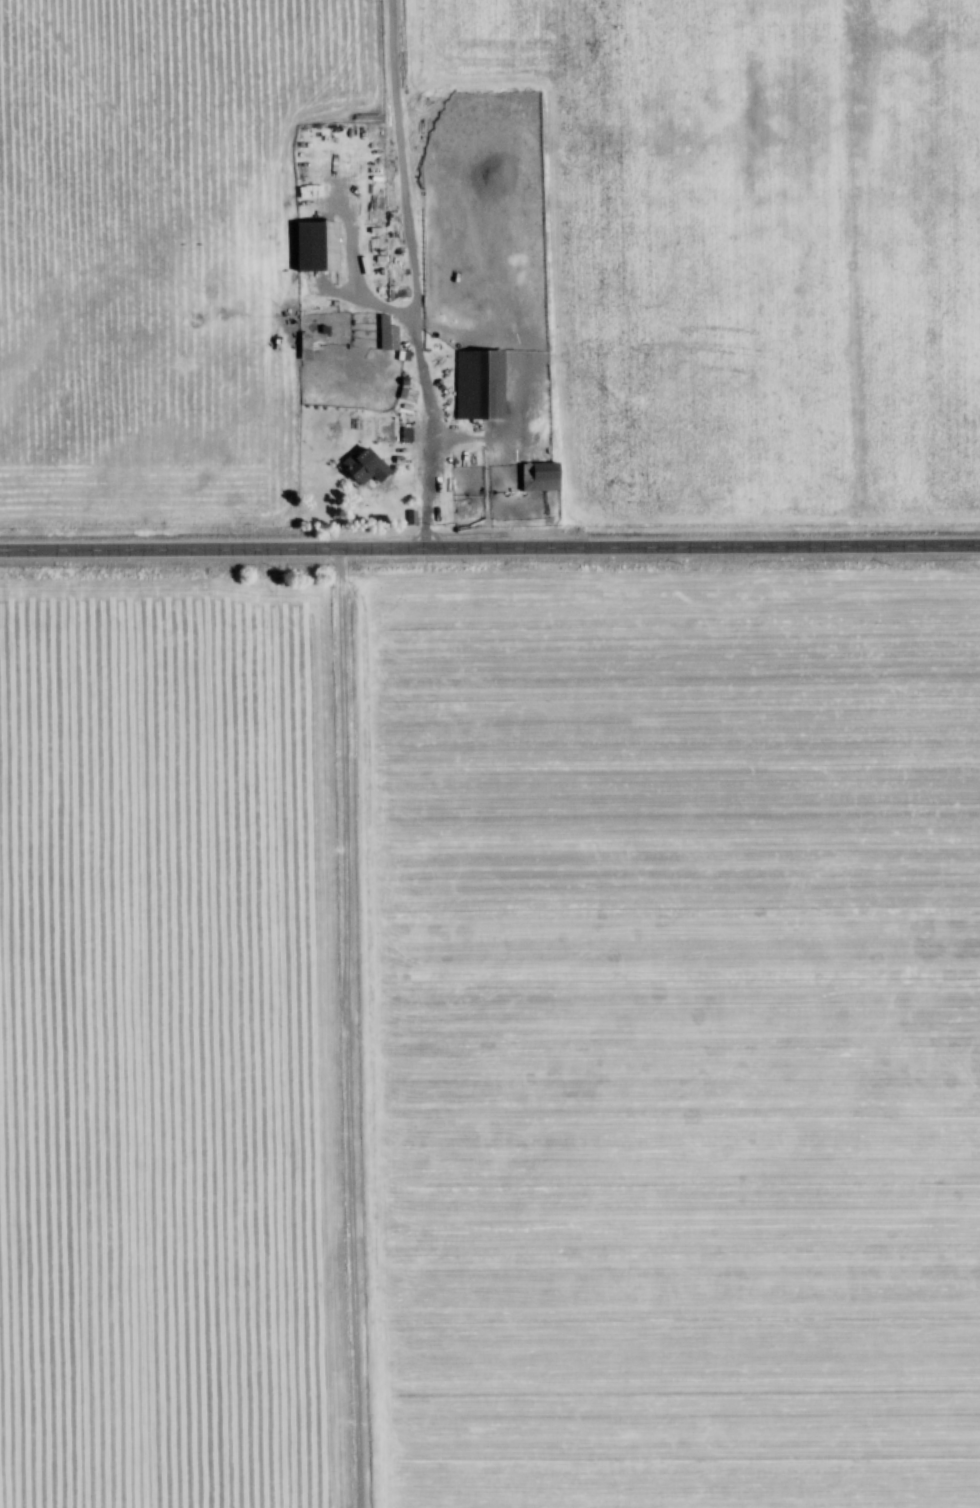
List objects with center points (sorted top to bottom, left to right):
building: (328, 245)
crop: (755, 250)
crop: (169, 251)
road: (424, 274)
building: (388, 334)
building: (494, 385)
building: (407, 435)
road: (455, 459)
building: (380, 468)
building: (553, 477)
road: (489, 548)
crop: (679, 1036)
crop: (179, 1044)

